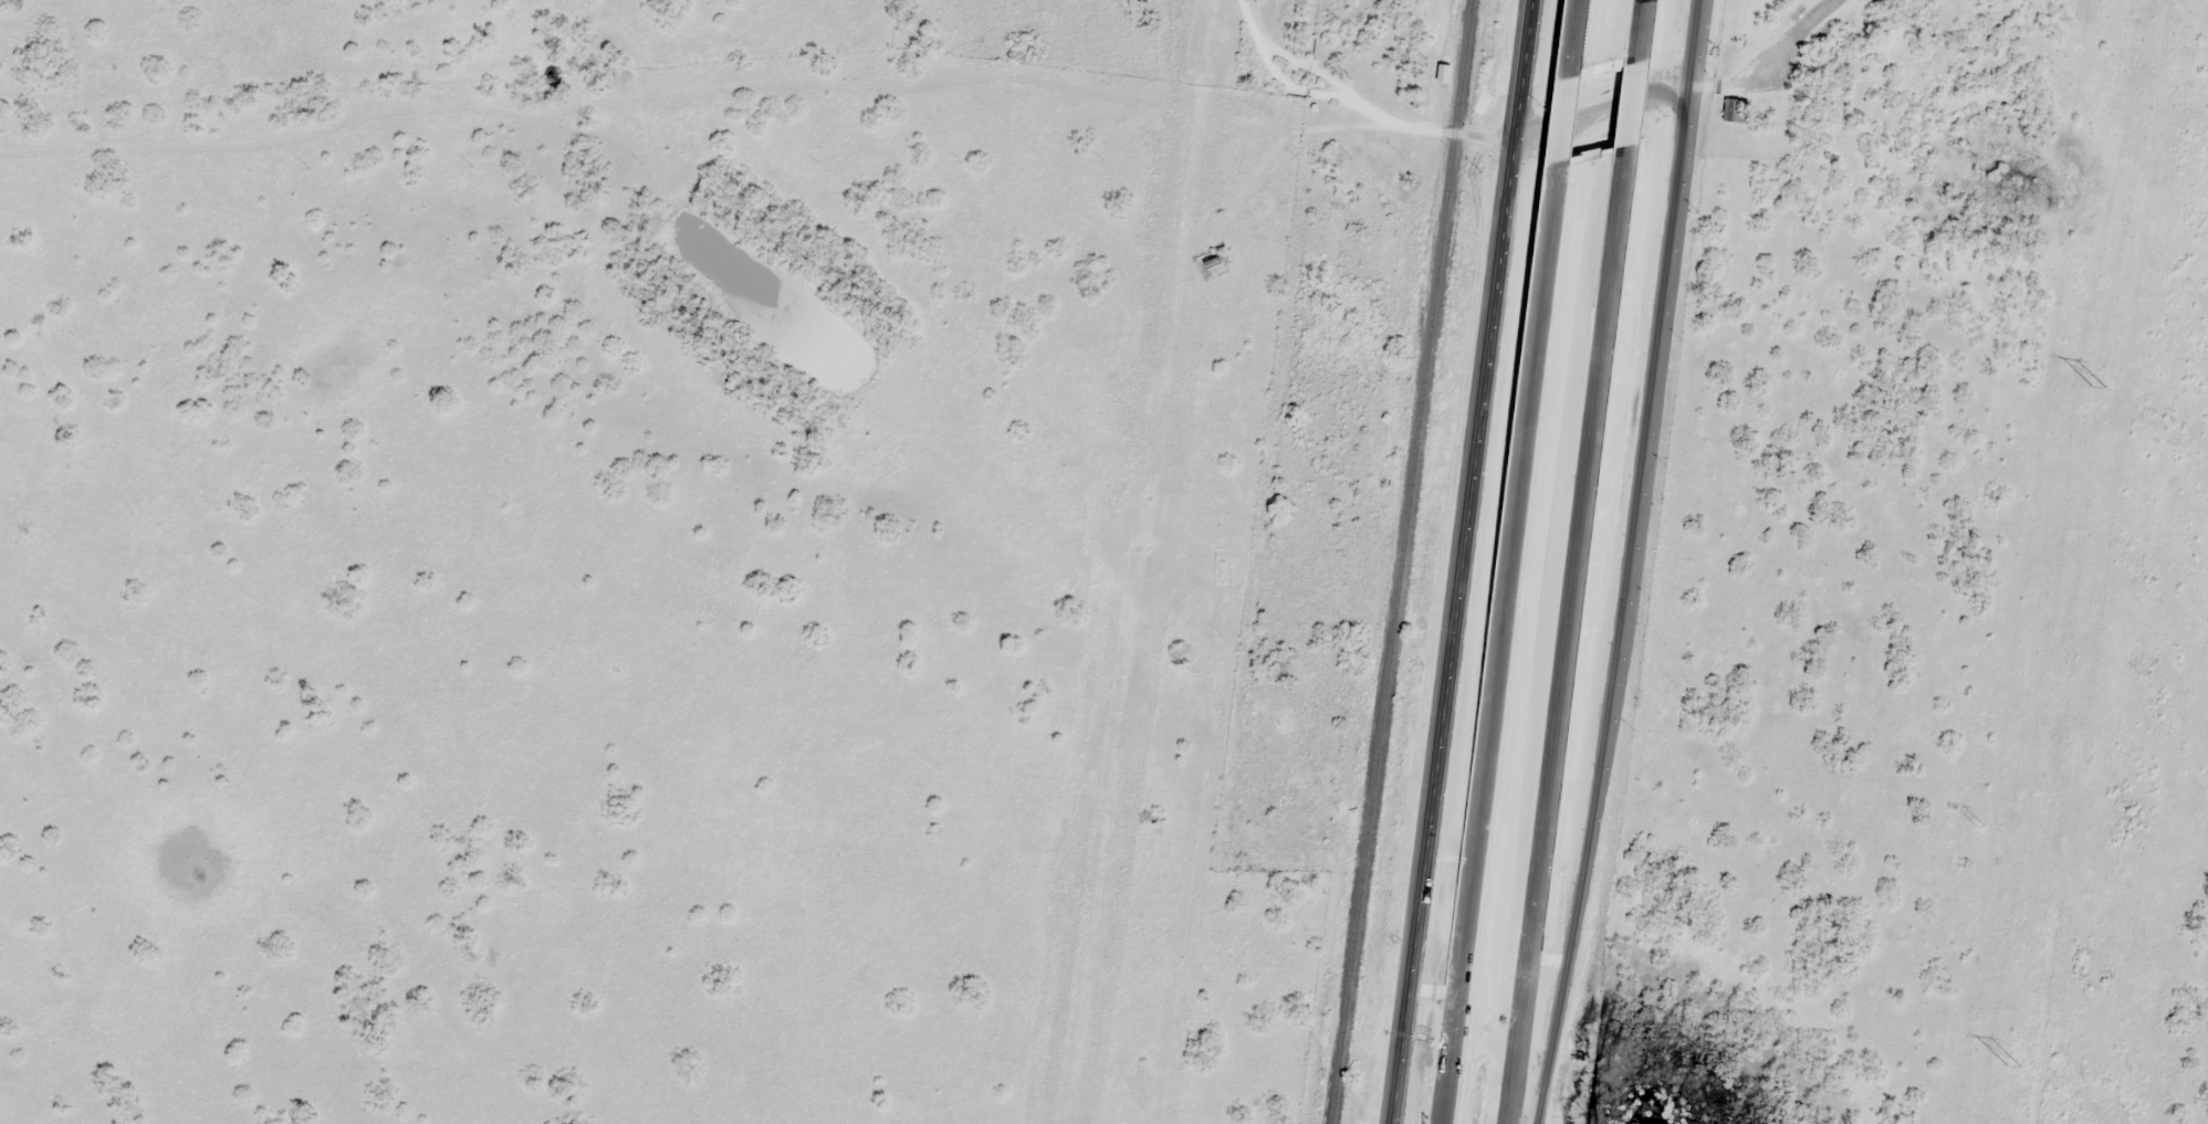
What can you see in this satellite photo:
road: (1641, 30)
road: (1573, 38)
road: (1257, 48)
road: (1688, 51)
road: (1764, 62)
building: (1445, 72)
road: (843, 95)
road: (1632, 102)
building: (1736, 108)
road: (1563, 118)
power tower: (2095, 392)
railway: (1406, 561)
road: (1466, 561)
road: (1615, 614)
road: (1565, 634)
road: (1496, 642)
power tower: (1990, 747)
power tower: (1981, 826)
power tower: (2012, 1070)

